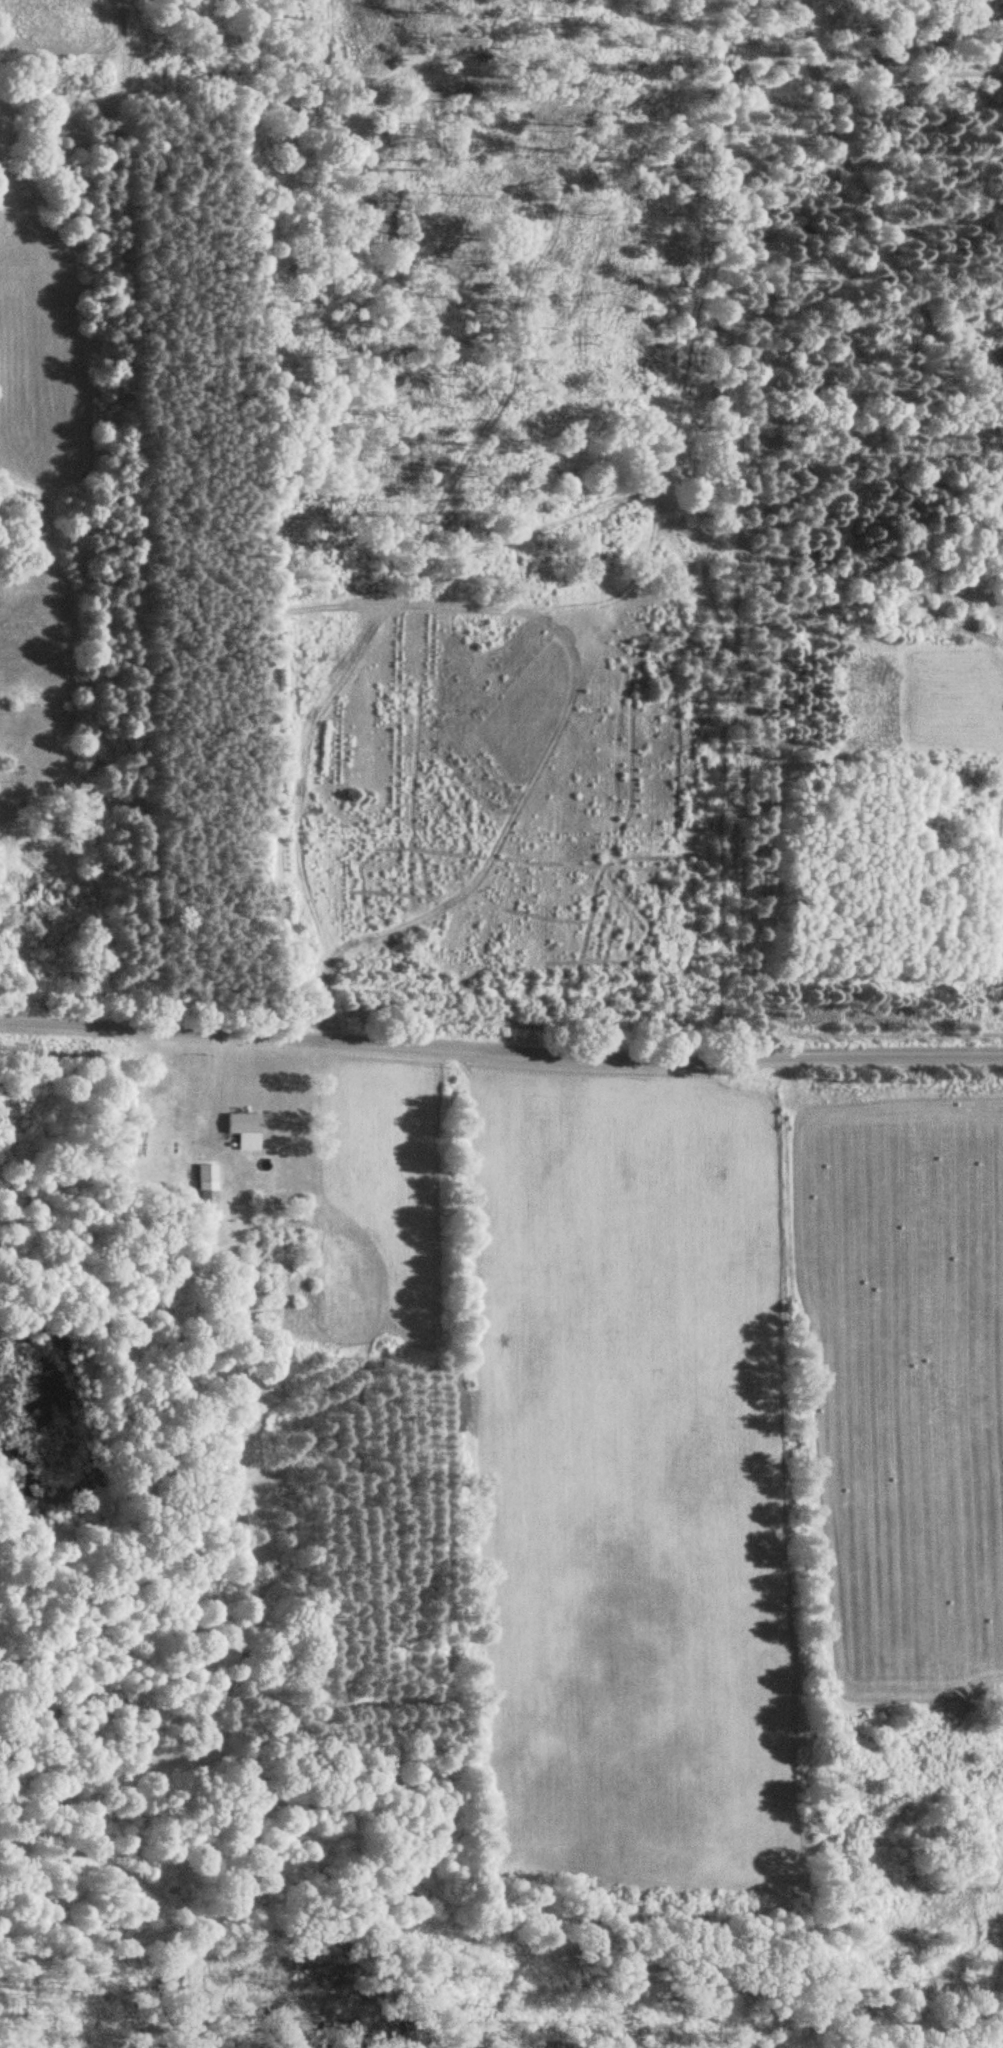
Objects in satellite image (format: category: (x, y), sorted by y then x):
building: (27, 772)
road: (501, 1052)
road: (216, 1089)
building: (243, 1129)
building: (205, 1187)

